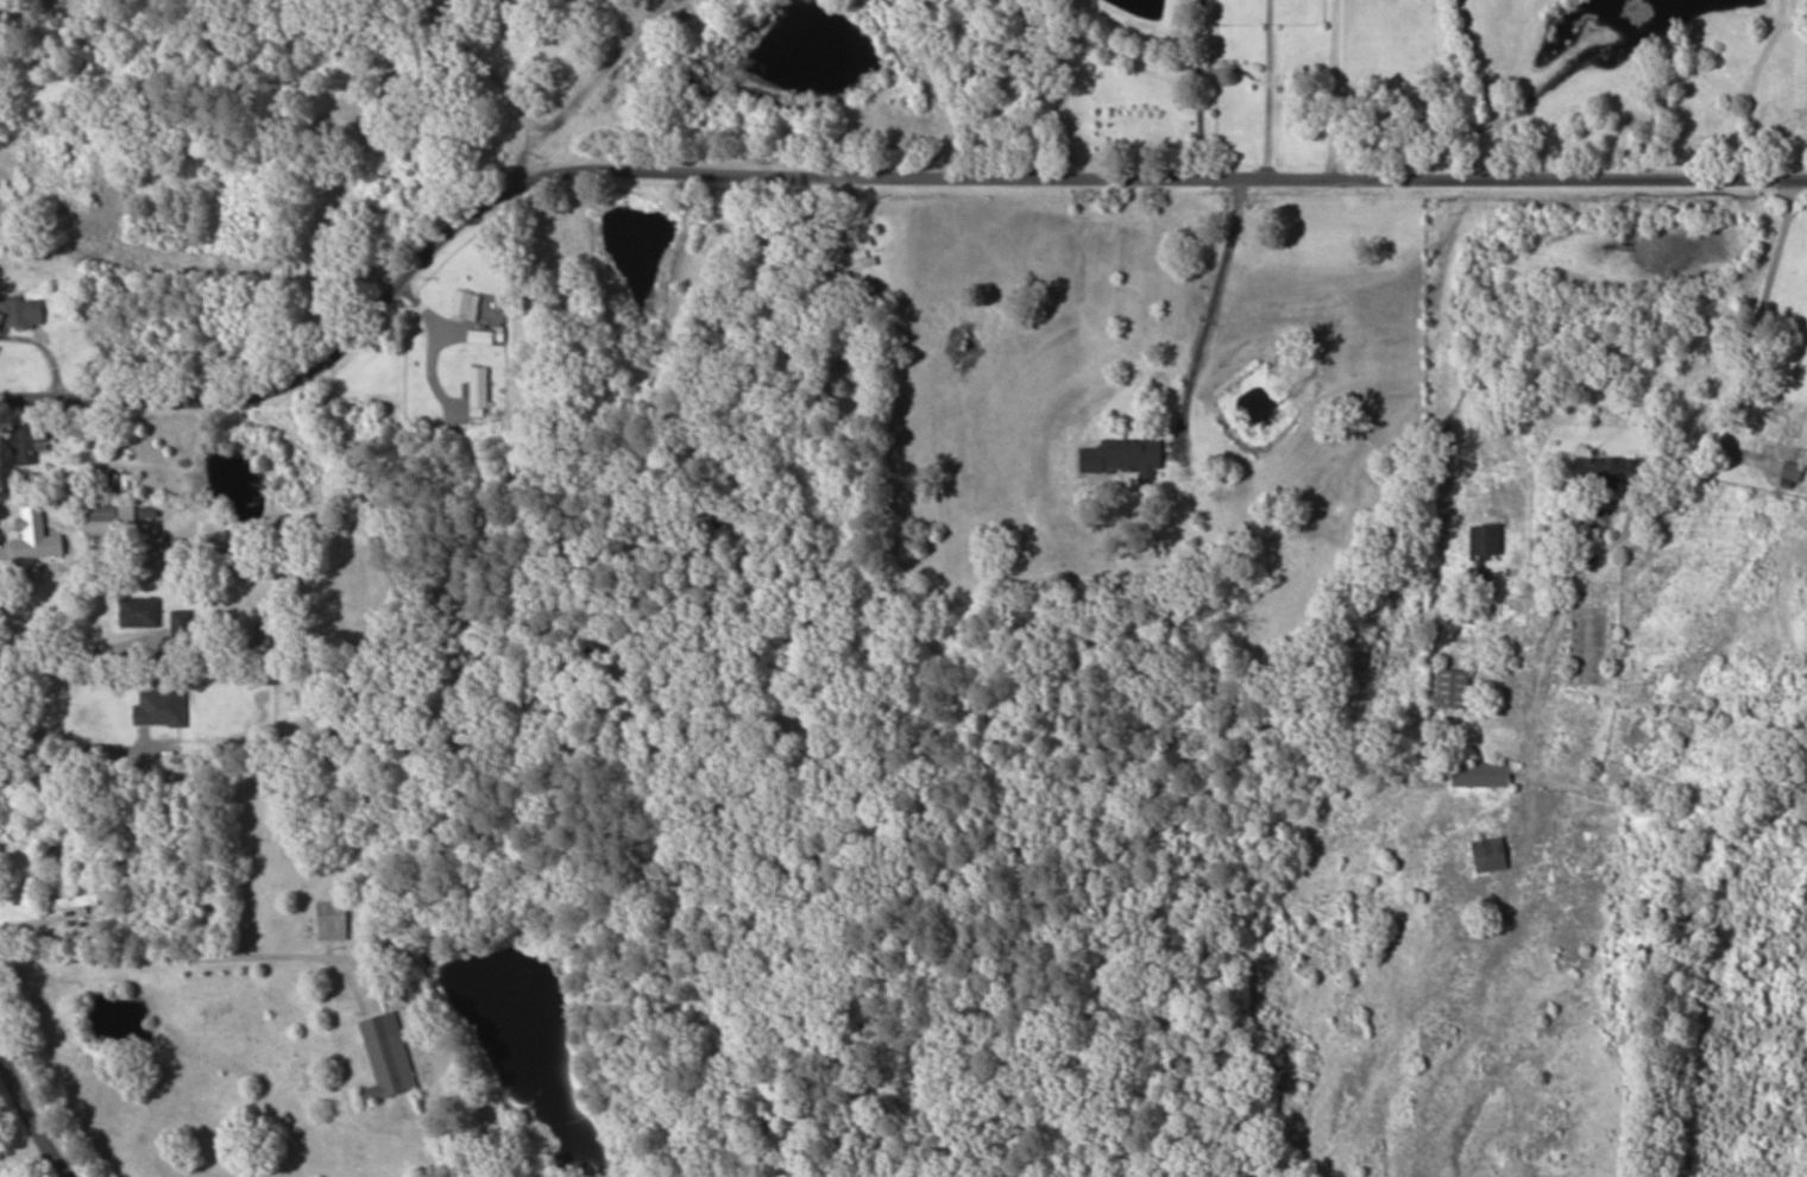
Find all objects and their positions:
road: (863, 156)
building: (4, 201)
building: (845, 264)
building: (466, 303)
building: (20, 313)
building: (478, 383)
building: (426, 405)
building: (1778, 430)
building: (30, 442)
building: (1132, 455)
building: (1788, 471)
building: (1611, 472)
building: (103, 481)
building: (111, 520)
building: (36, 536)
building: (1482, 550)
building: (139, 612)
building: (181, 625)
building: (263, 636)
building: (1589, 650)
building: (1453, 688)
building: (160, 707)
building: (1481, 774)
building: (53, 851)
building: (1491, 855)
building: (1381, 870)
building: (74, 901)
building: (1736, 919)
building: (332, 920)
building: (386, 1057)
road: (31, 1100)

